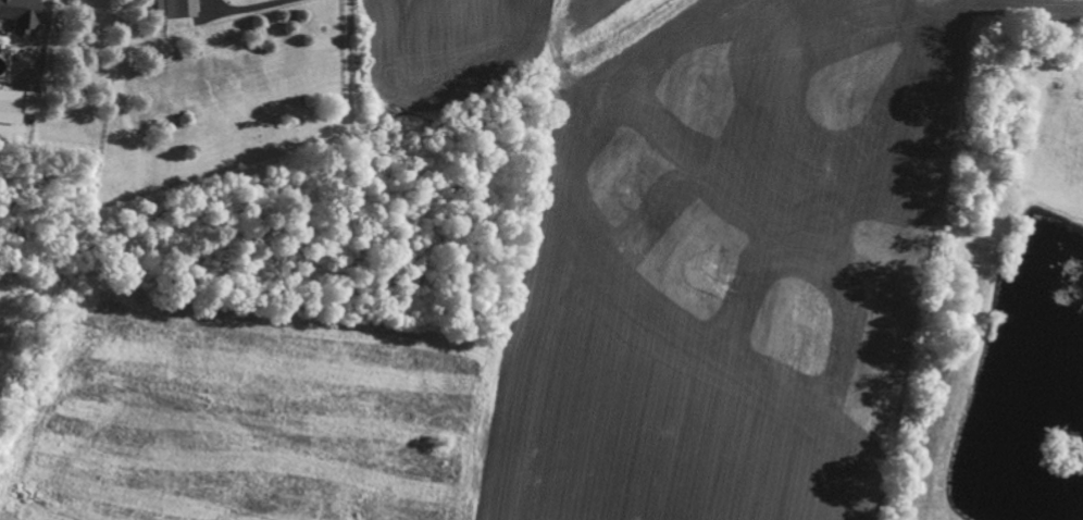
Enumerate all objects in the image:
building: (176, 8)
building: (21, 14)
building: (17, 101)

